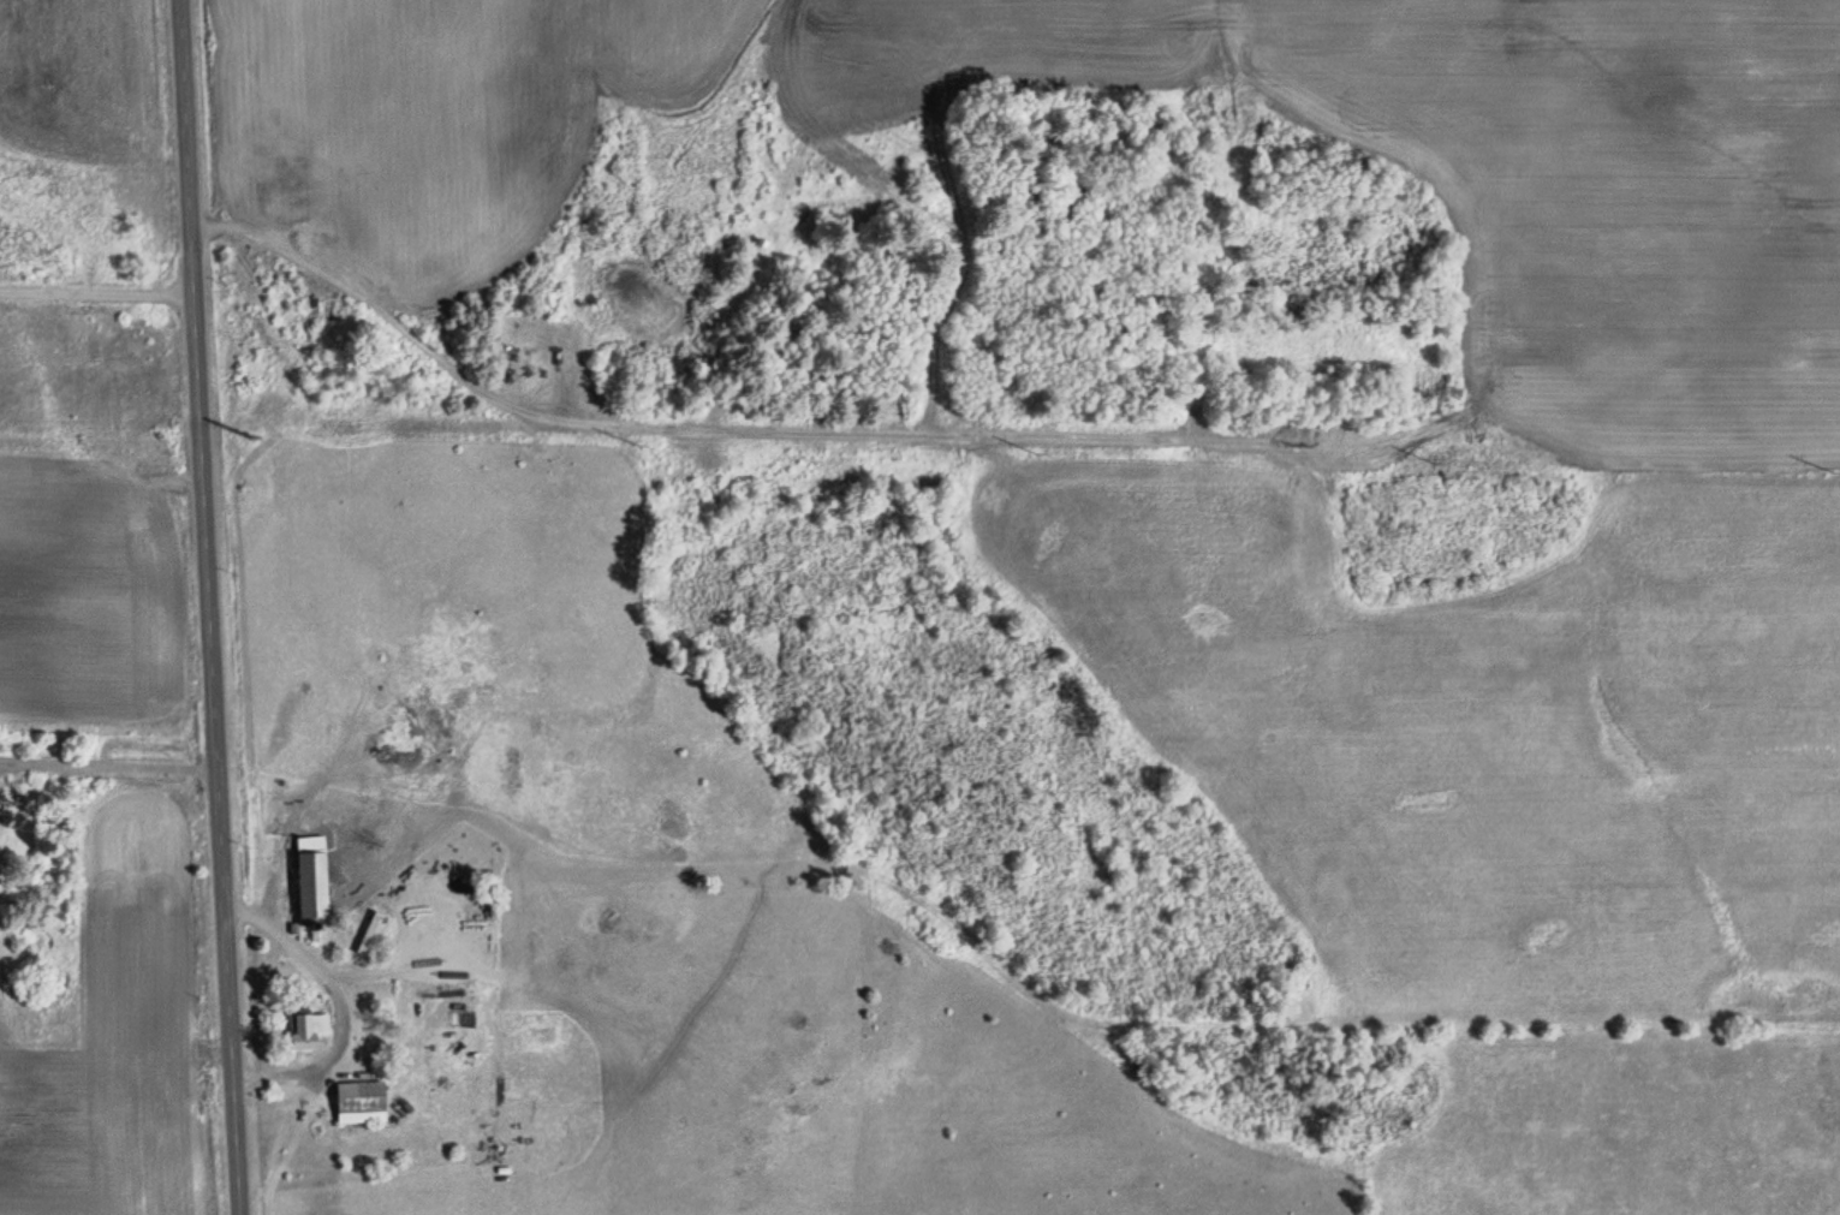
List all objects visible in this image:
road: (204, 607)
building: (315, 885)
building: (311, 1030)
building: (363, 1103)

